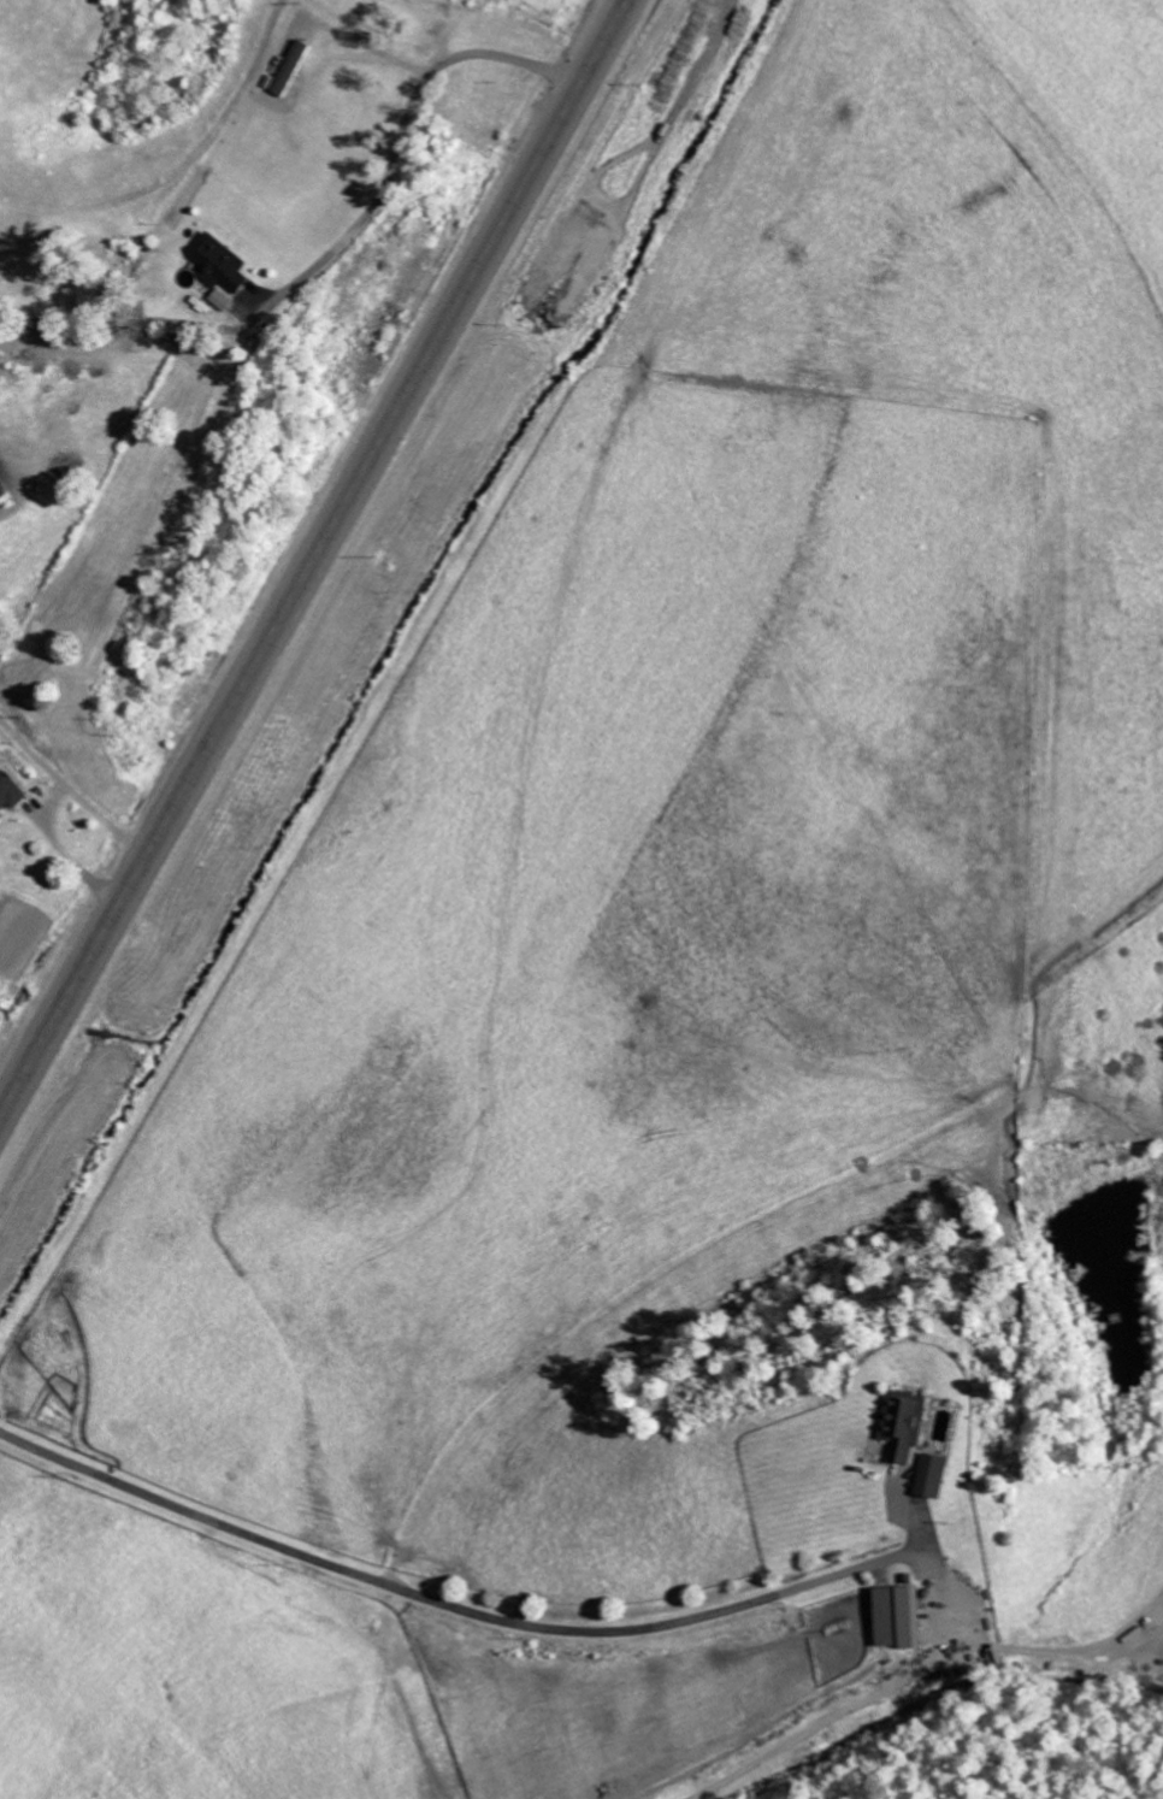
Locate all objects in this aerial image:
road: (380, 200)
building: (224, 264)
building: (224, 299)
building: (5, 490)
road: (311, 556)
building: (12, 794)
building: (909, 1423)
building: (938, 1475)
building: (904, 1616)

